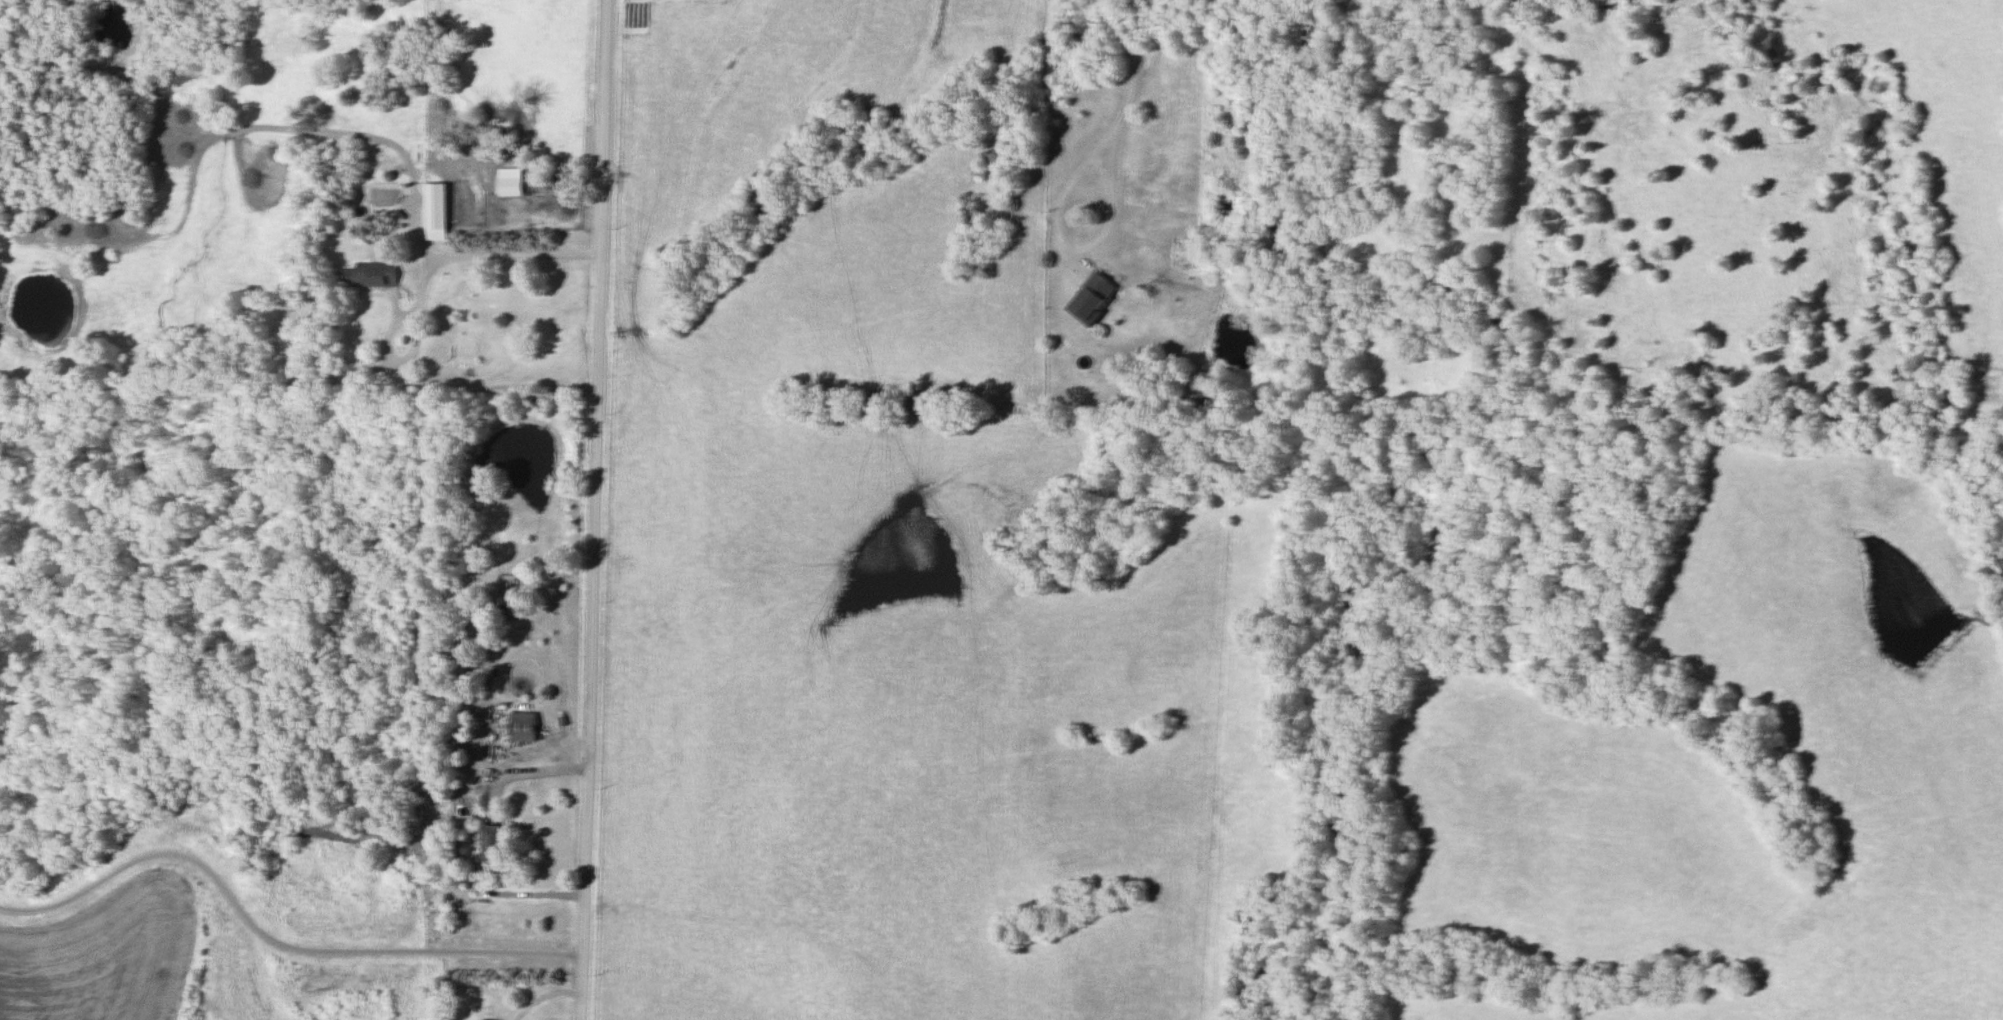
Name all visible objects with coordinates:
road: (1128, 73)
building: (437, 213)
road: (1060, 244)
road: (491, 258)
building: (371, 277)
building: (1092, 301)
building: (286, 345)
road: (413, 347)
building: (1195, 392)
road: (593, 510)
building: (524, 729)
road: (487, 830)
building: (491, 845)
road: (269, 936)

